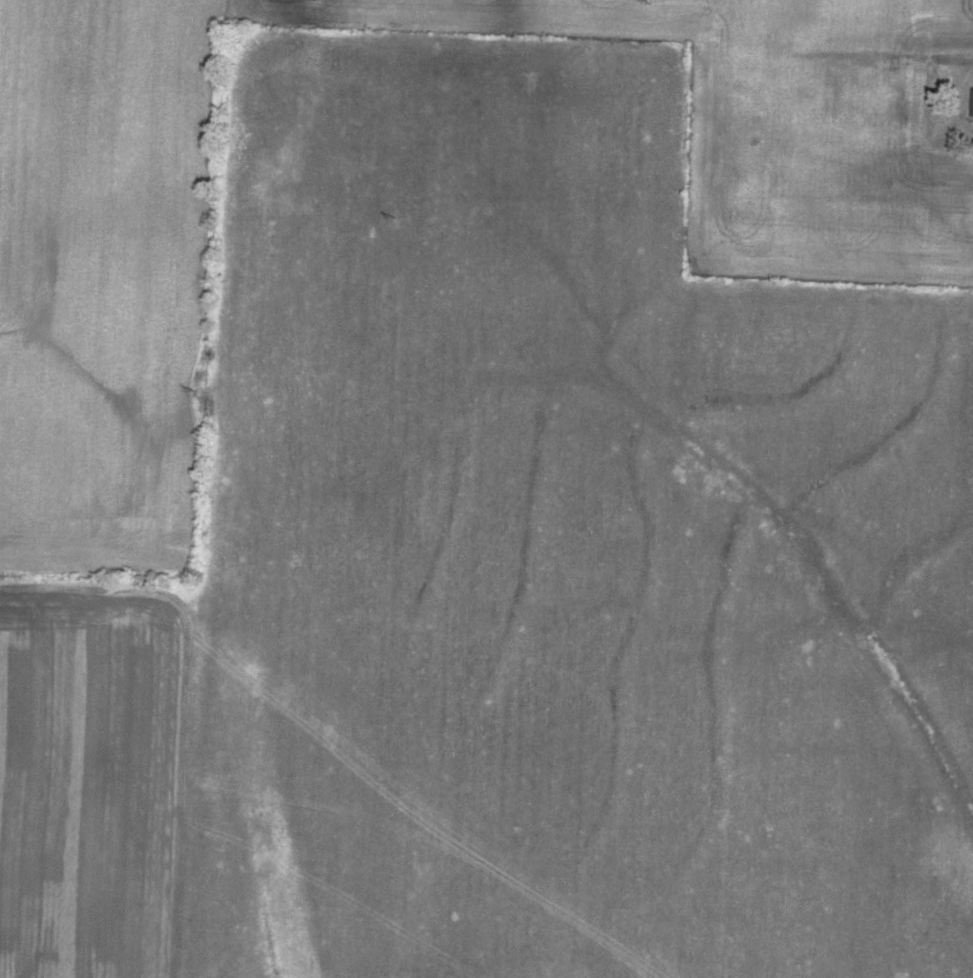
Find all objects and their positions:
building: (868, 88)
building: (904, 93)
road: (965, 102)
building: (972, 104)
building: (829, 138)

